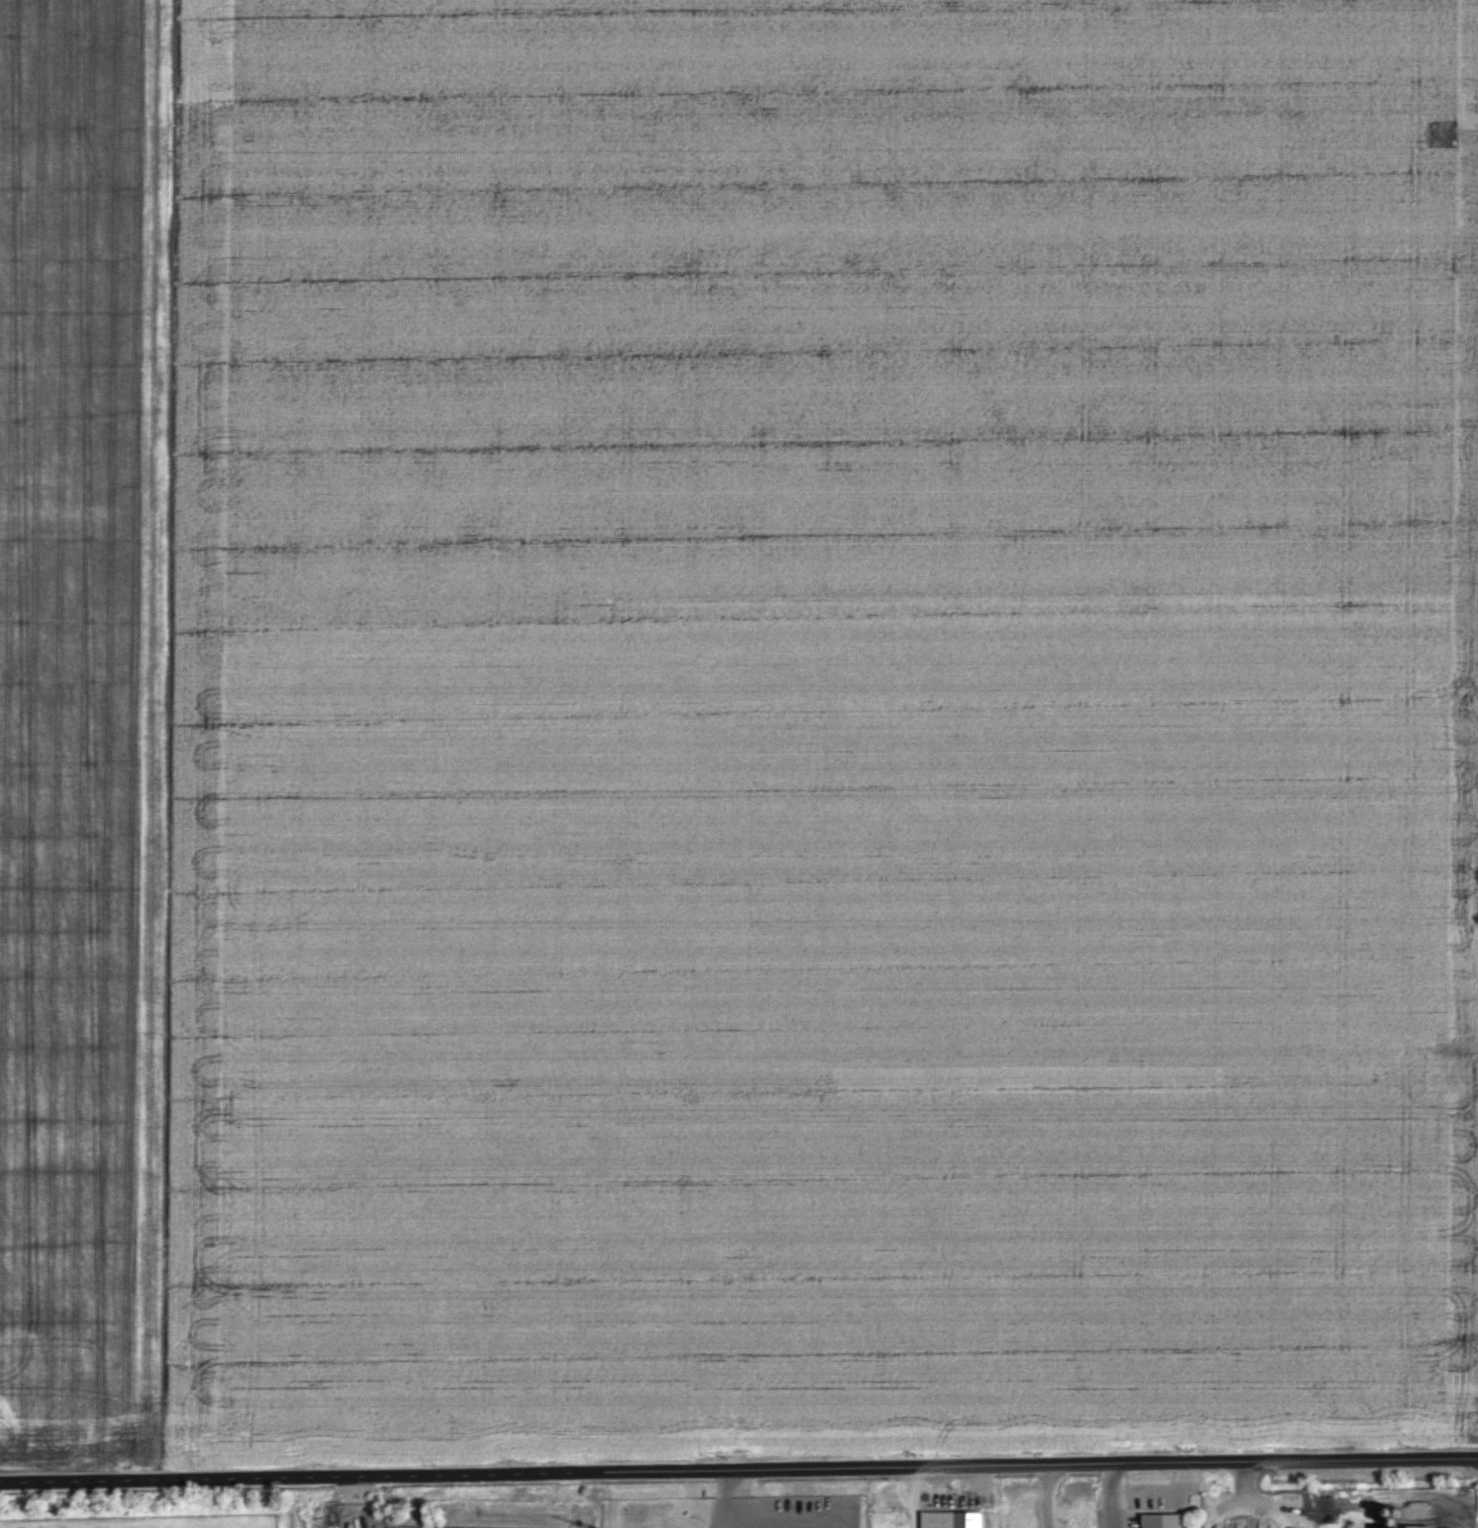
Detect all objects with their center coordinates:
road: (739, 1468)
road: (1043, 1496)
road: (1349, 1496)
building: (949, 1519)
building: (1162, 1520)
building: (1404, 1527)

